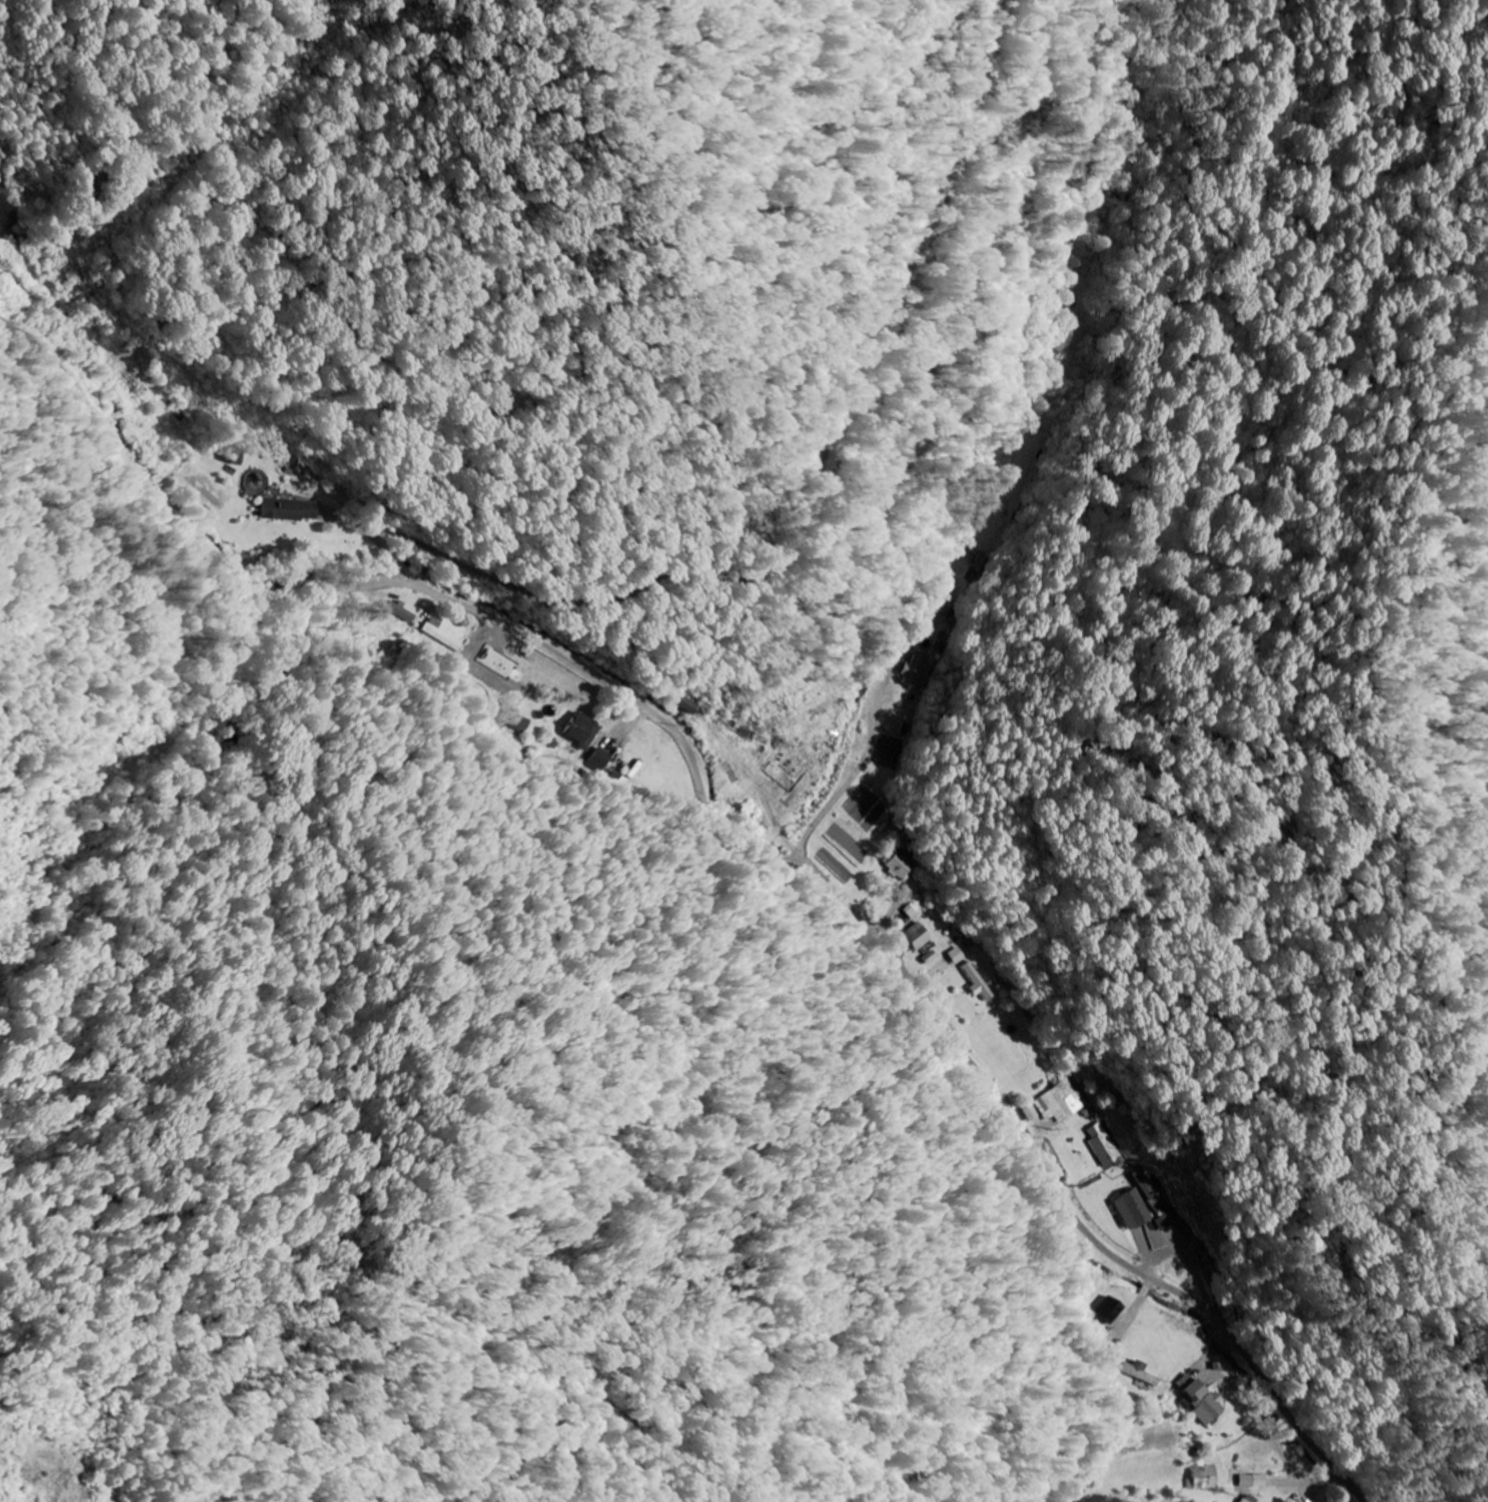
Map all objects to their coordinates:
building: (286, 511)
building: (400, 612)
building: (913, 673)
building: (688, 705)
building: (521, 724)
building: (580, 731)
building: (601, 759)
road: (729, 830)
building: (899, 866)
building: (912, 910)
building: (916, 937)
building: (956, 955)
building: (976, 981)
building: (1061, 1102)
building: (1031, 1113)
building: (1104, 1145)
building: (1130, 1209)
building: (1164, 1223)
building: (1109, 1311)
building: (1140, 1373)
building: (1201, 1402)
building: (1201, 1477)
building: (1253, 1481)
building: (1250, 1499)

